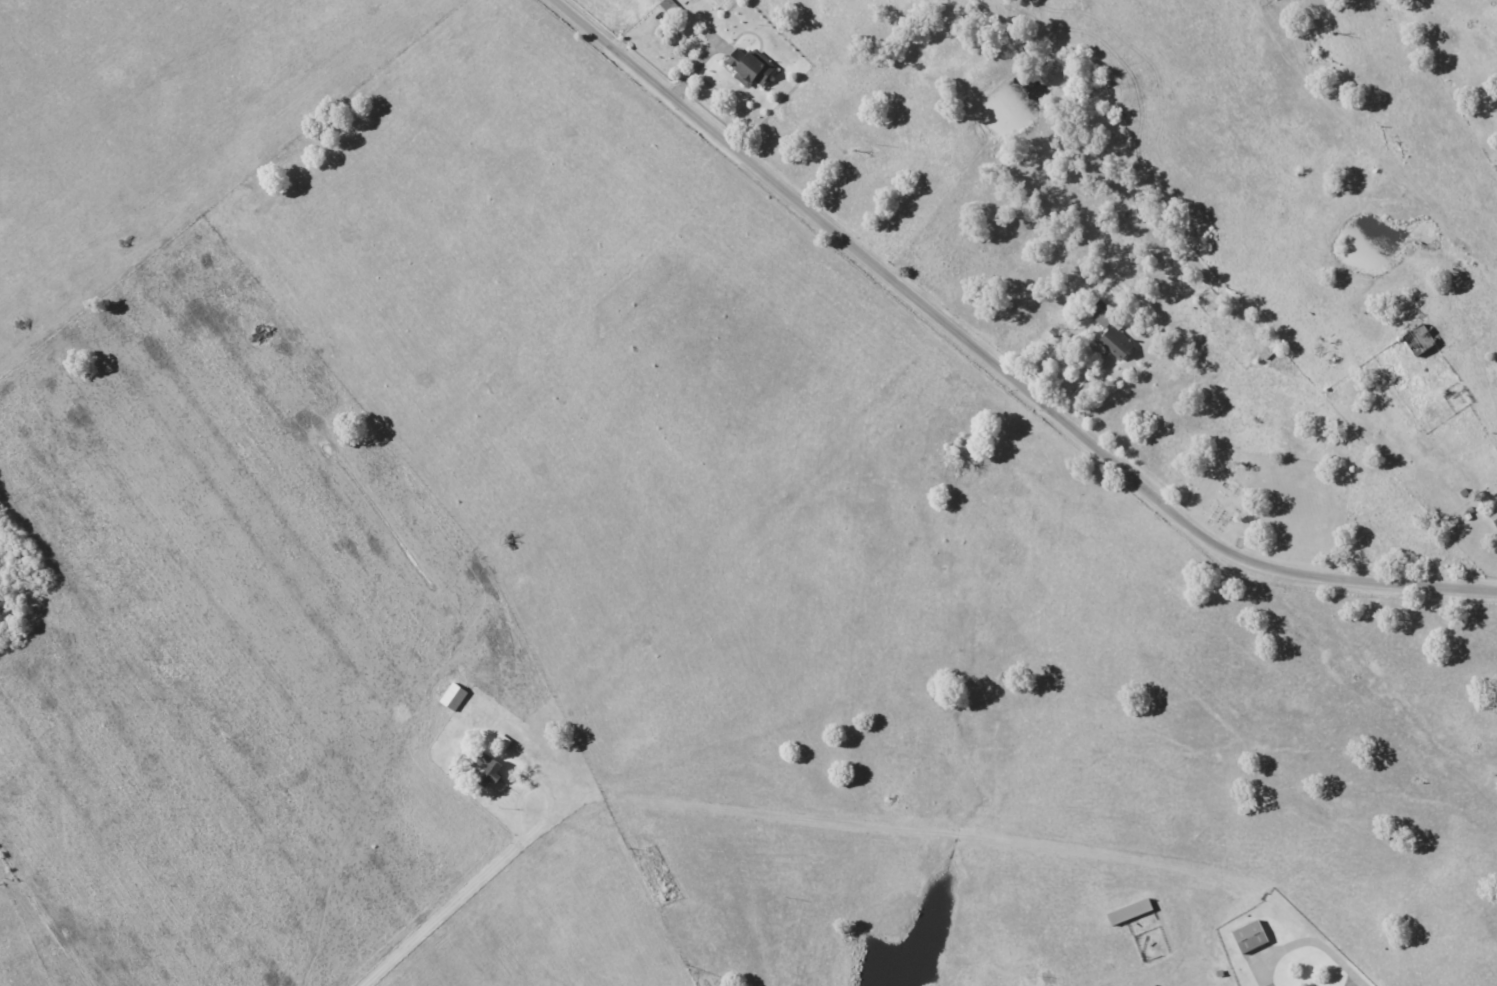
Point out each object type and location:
building: (671, 8)
building: (751, 64)
building: (1104, 322)
building: (1119, 340)
road: (998, 364)
park: (1232, 506)
building: (1494, 517)
building: (453, 697)
building: (490, 774)
road: (958, 838)
building: (1249, 937)

